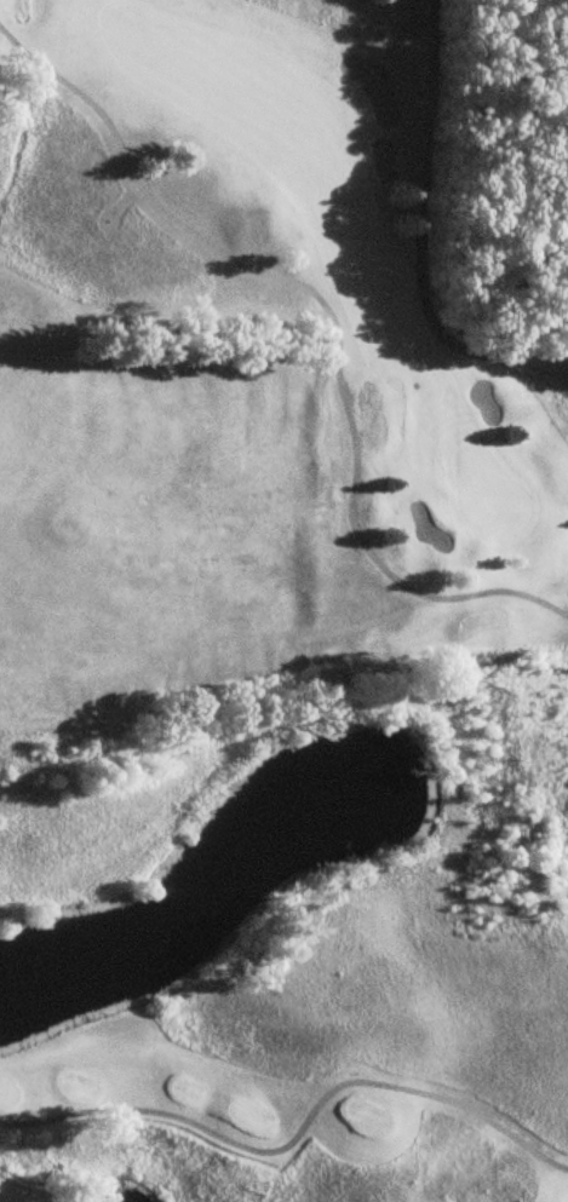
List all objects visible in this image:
road: (424, 237)
road: (333, 327)
park: (277, 611)
road: (294, 1132)

